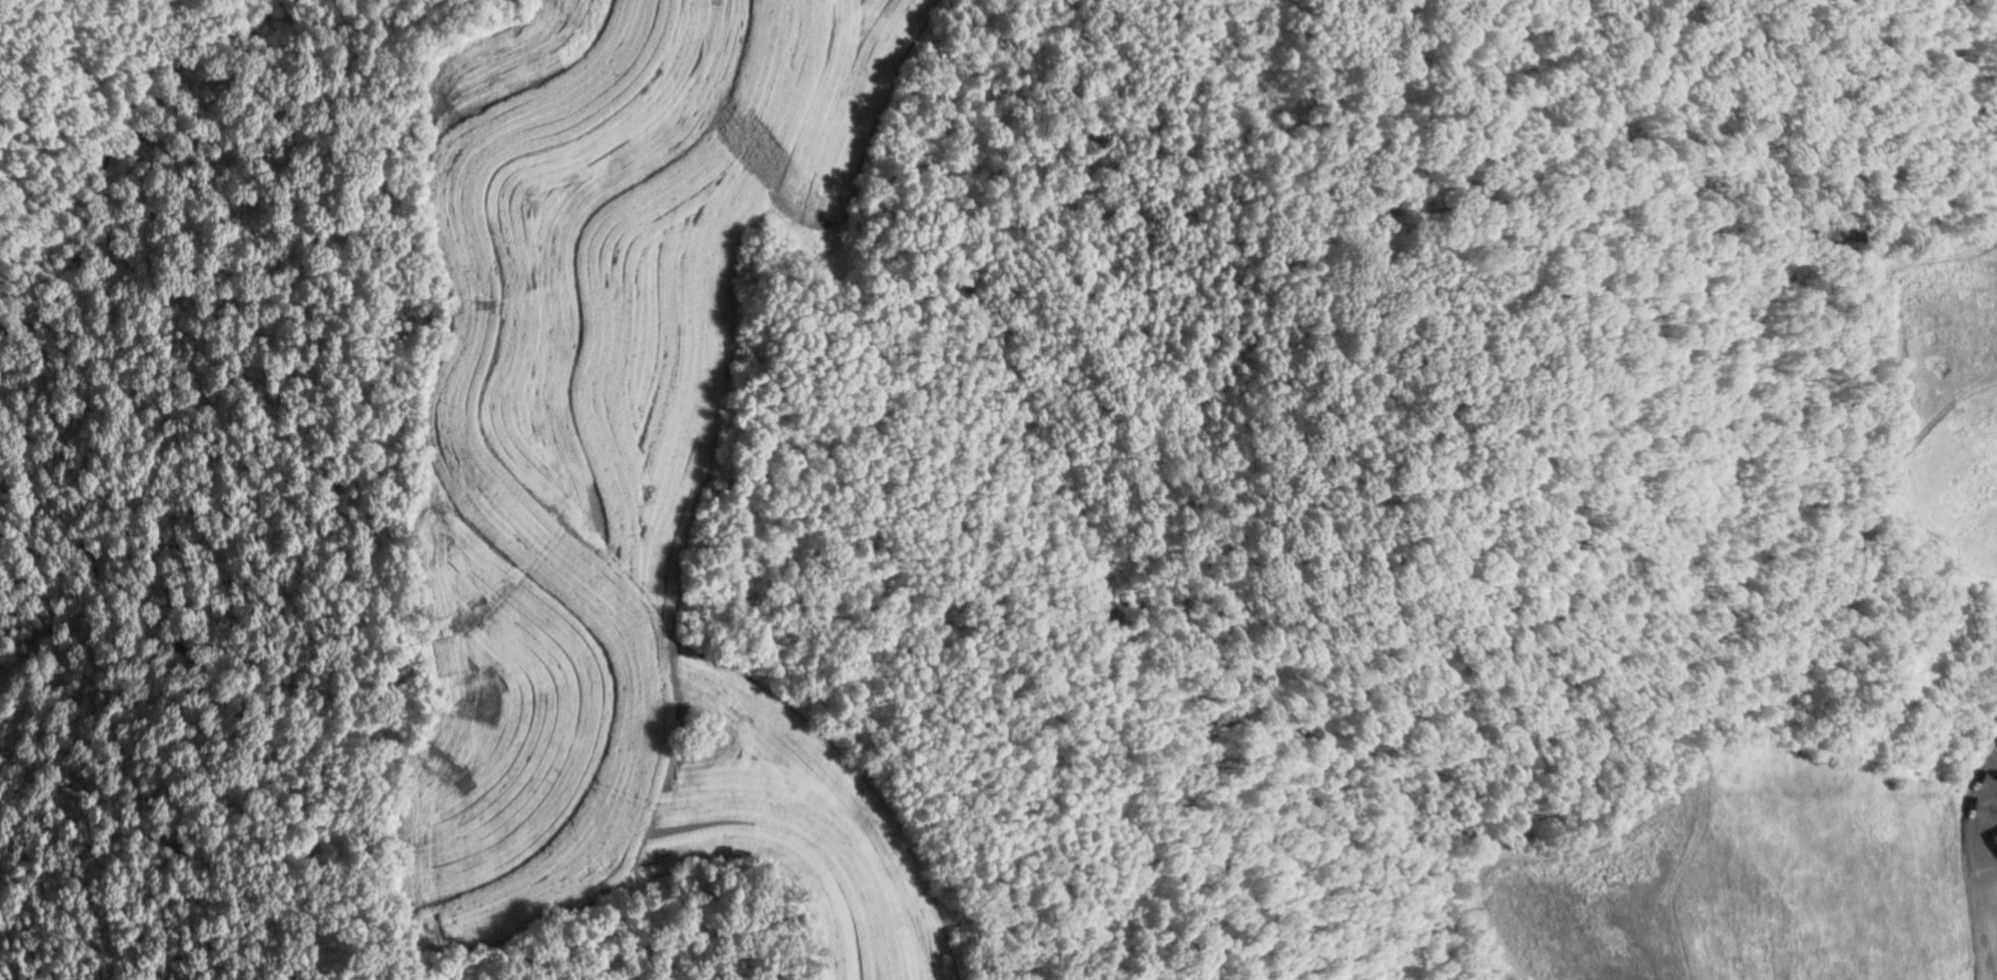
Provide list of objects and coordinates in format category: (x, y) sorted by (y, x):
building: (1996, 834)
road: (1991, 971)

